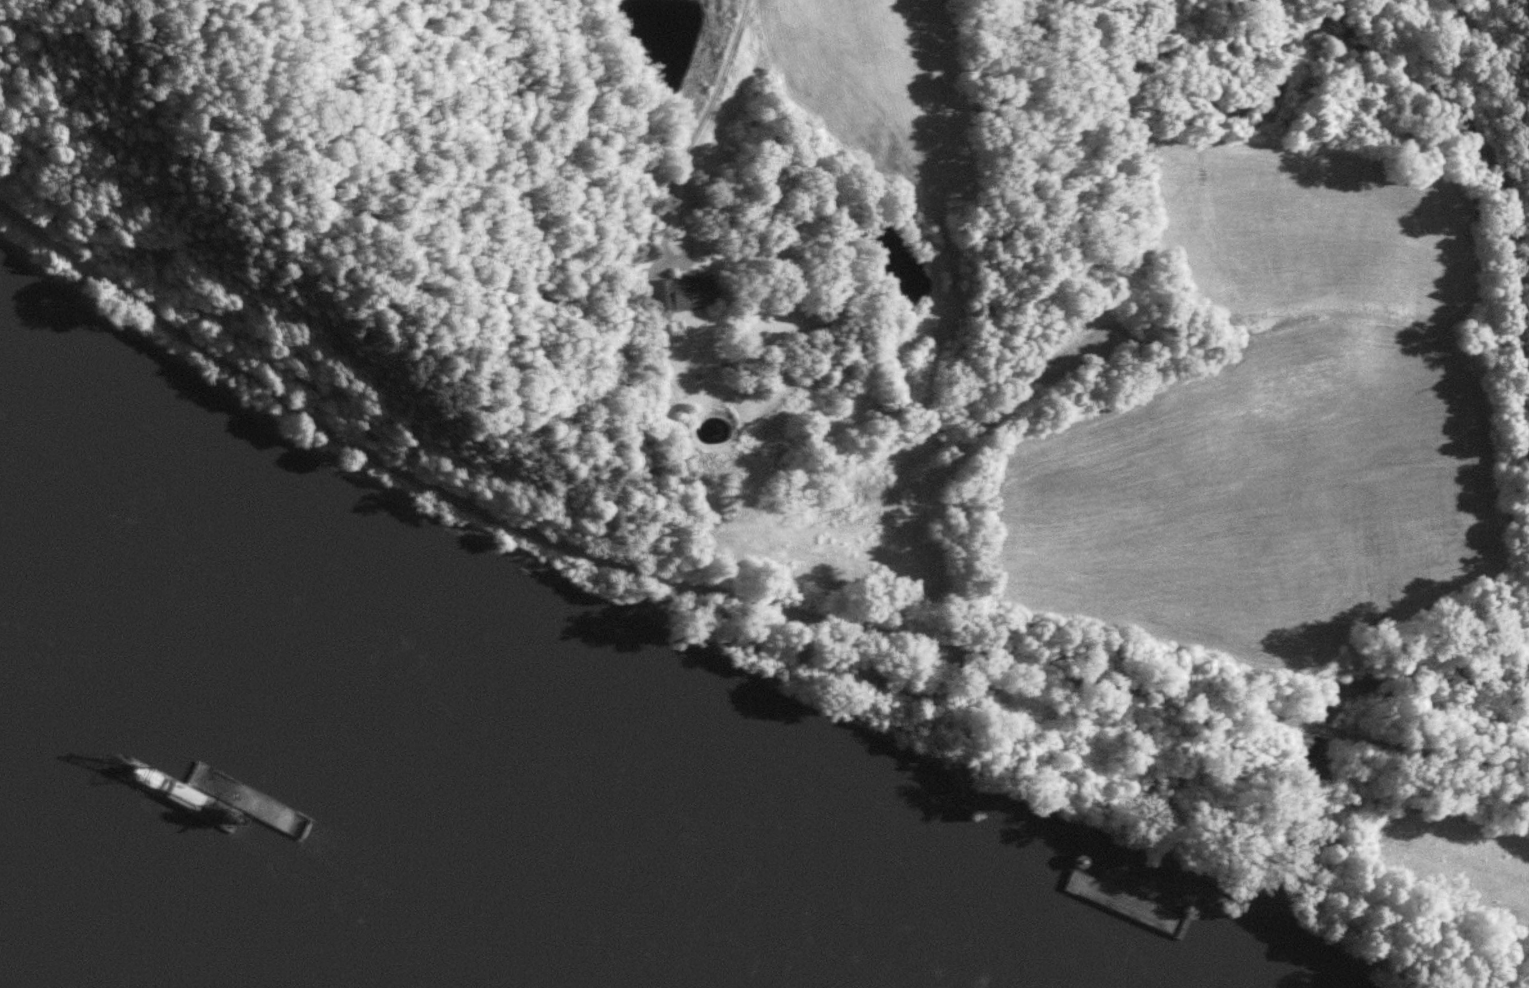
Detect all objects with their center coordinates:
road: (694, 128)
road: (106, 281)
building: (682, 295)
building: (660, 340)
road: (848, 624)
river: (226, 844)

